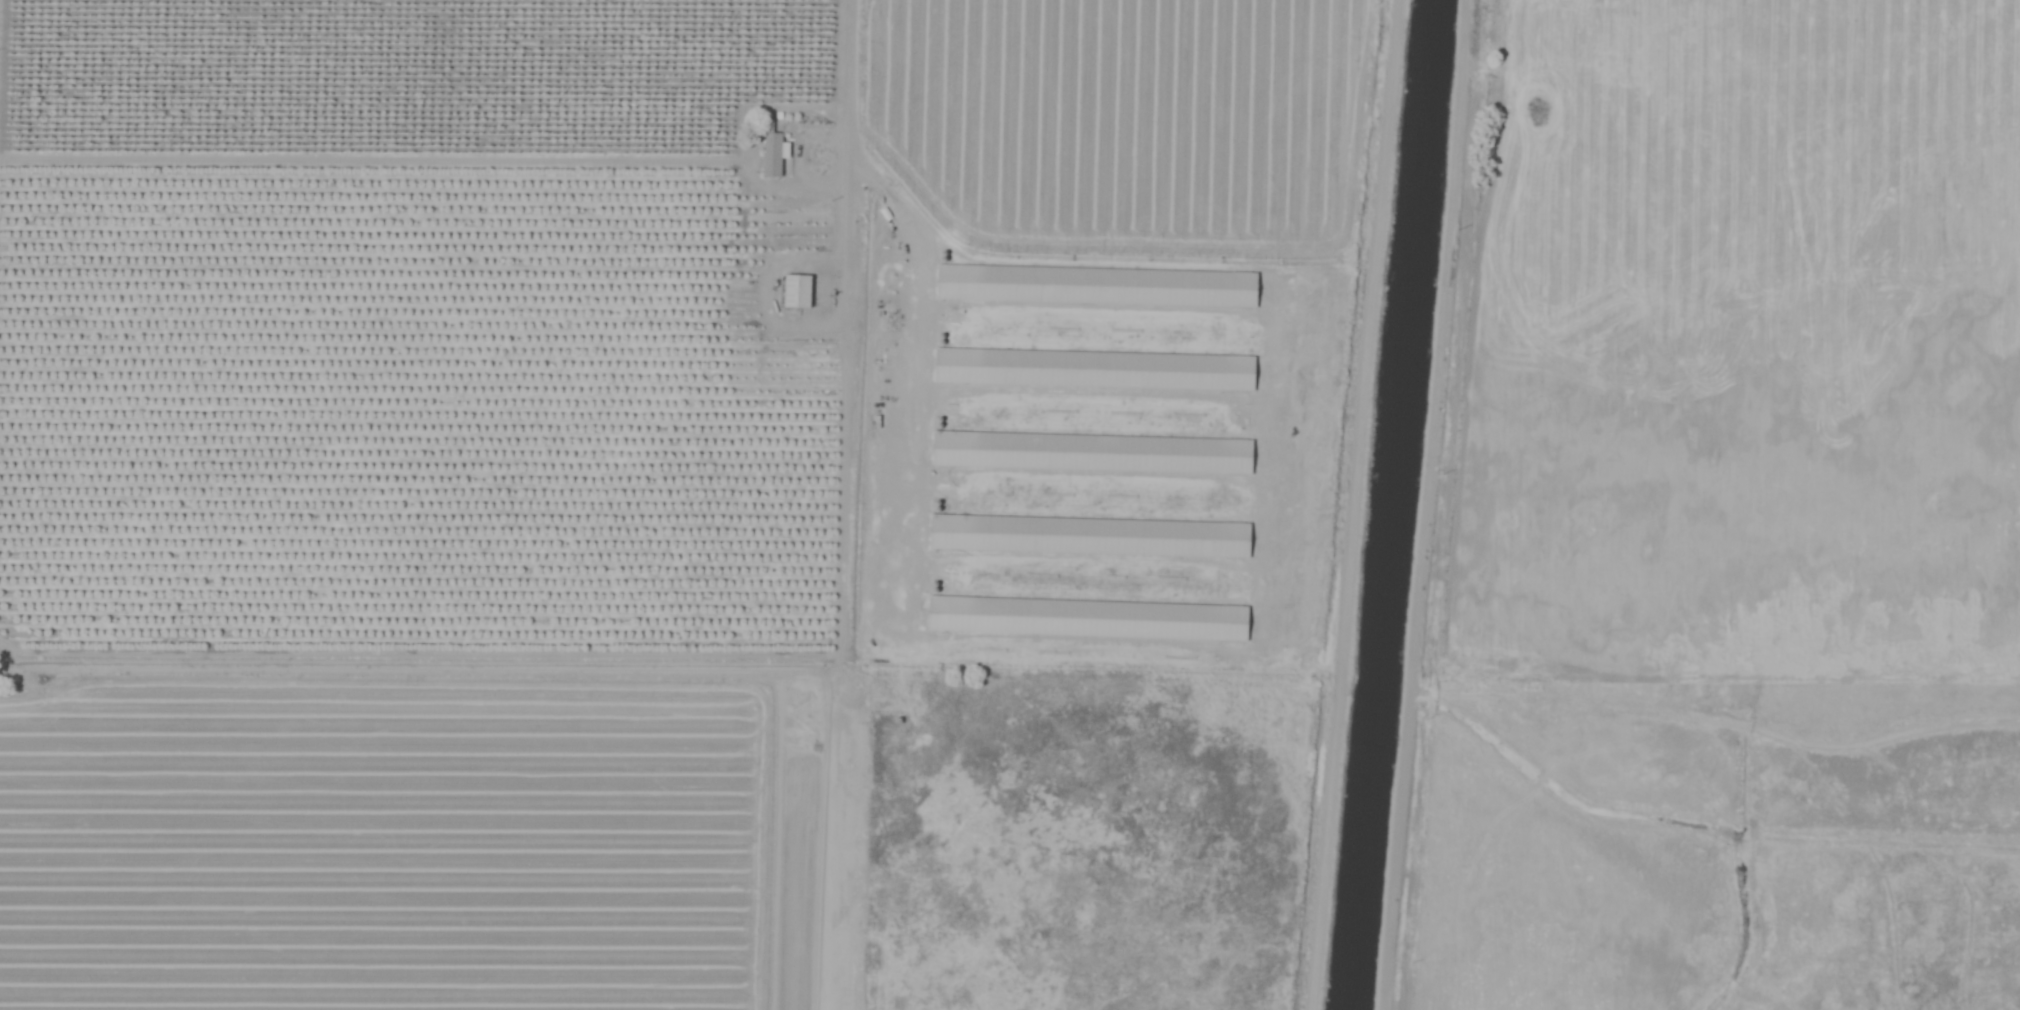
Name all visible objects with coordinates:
road: (849, 124)
building: (778, 153)
road: (1451, 233)
building: (987, 282)
building: (802, 290)
road: (844, 318)
building: (985, 366)
building: (977, 449)
crop: (502, 464)
building: (987, 534)

